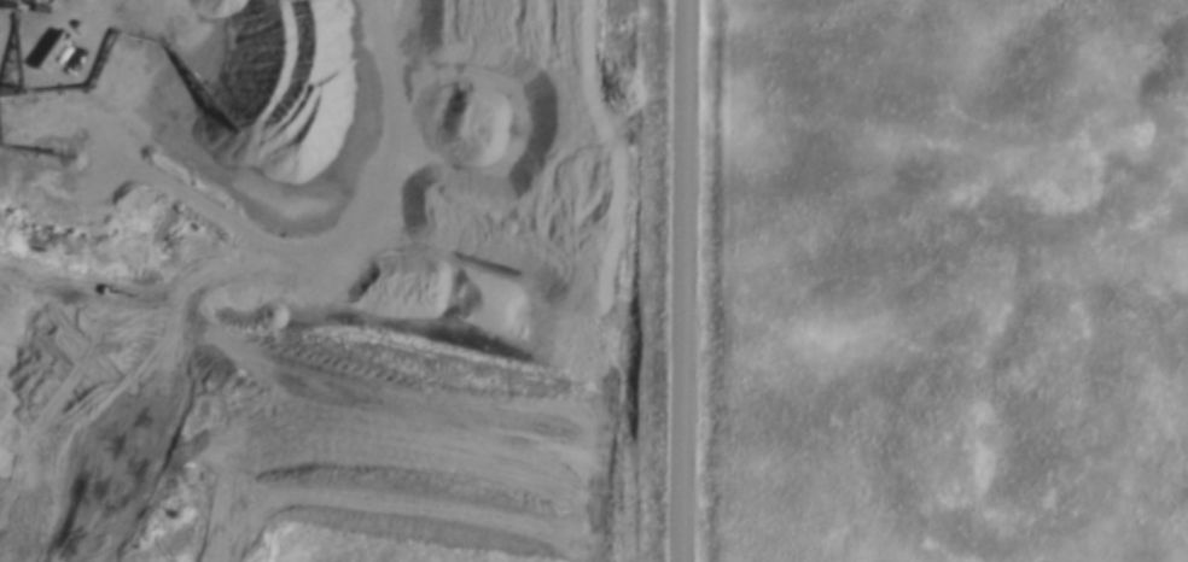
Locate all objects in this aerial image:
quarry: (187, 129)
road: (680, 280)

